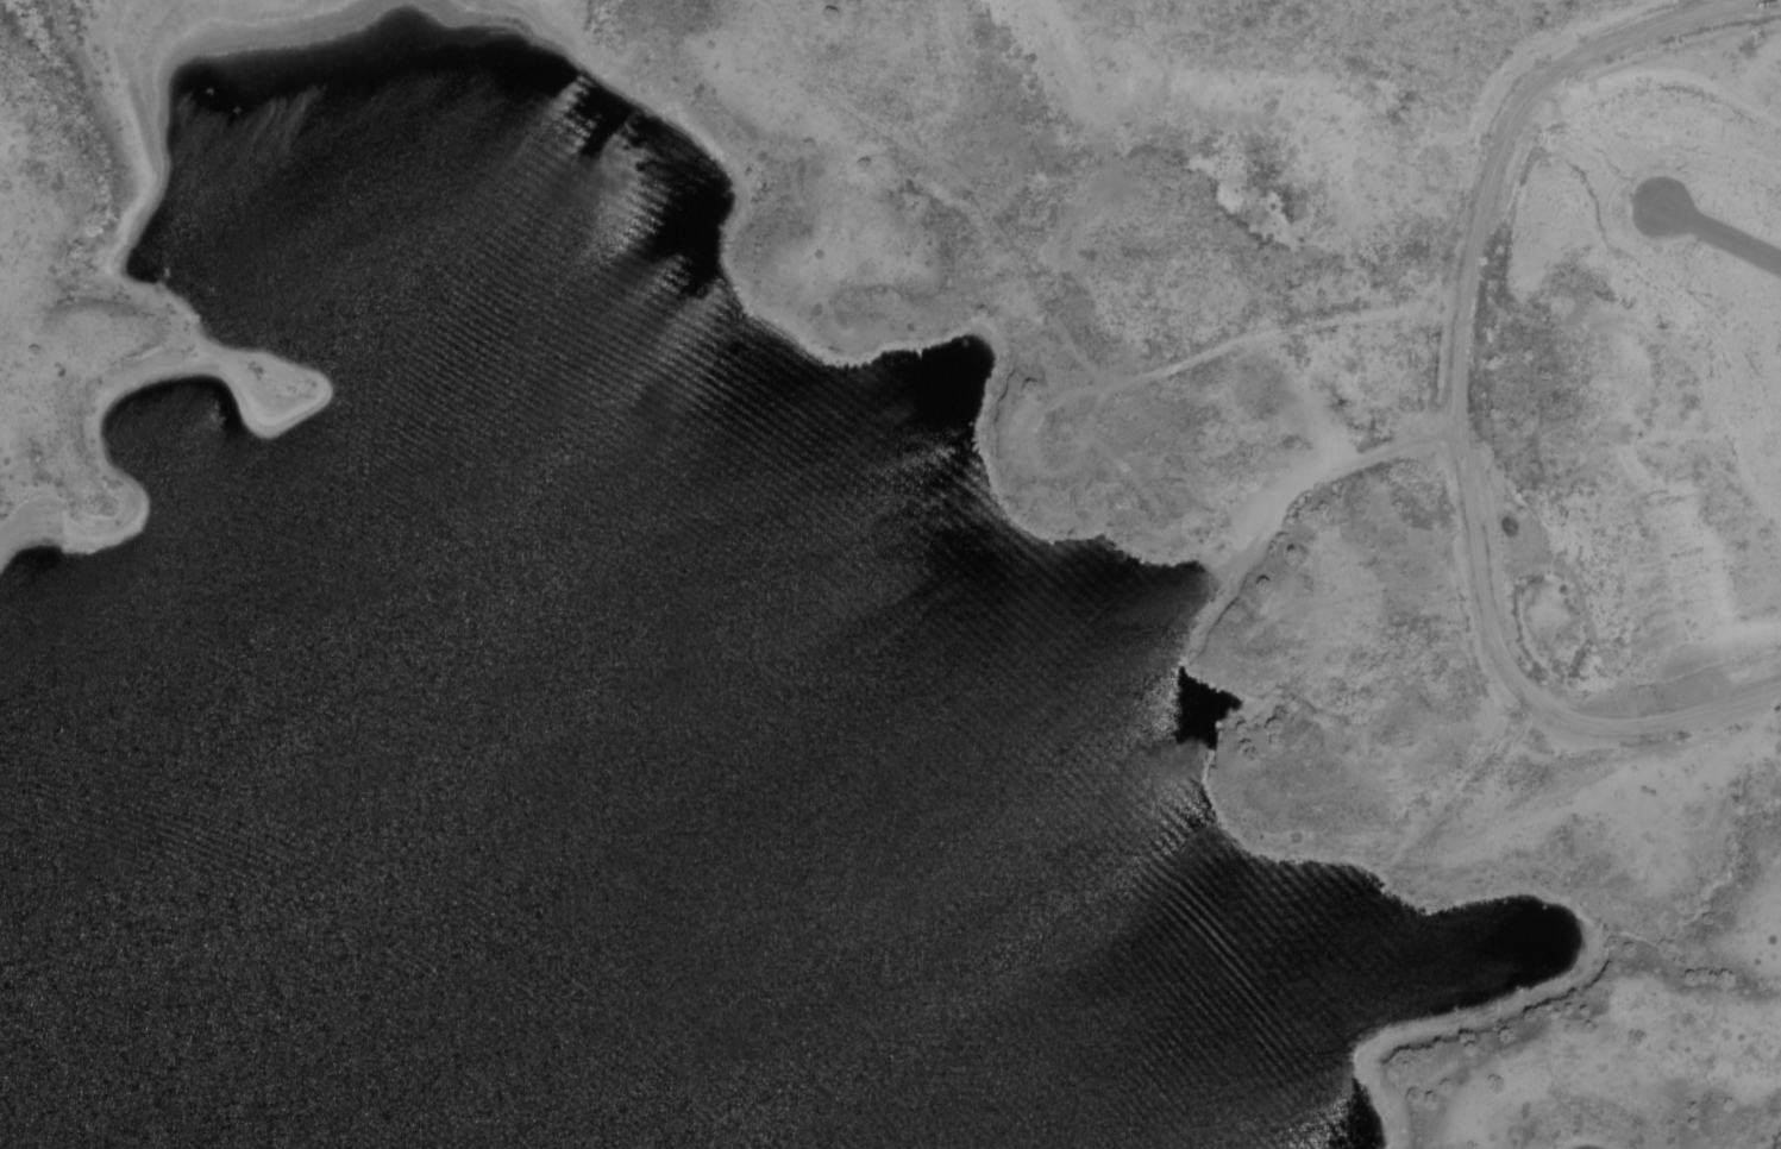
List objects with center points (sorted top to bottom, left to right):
road: (1727, 238)

